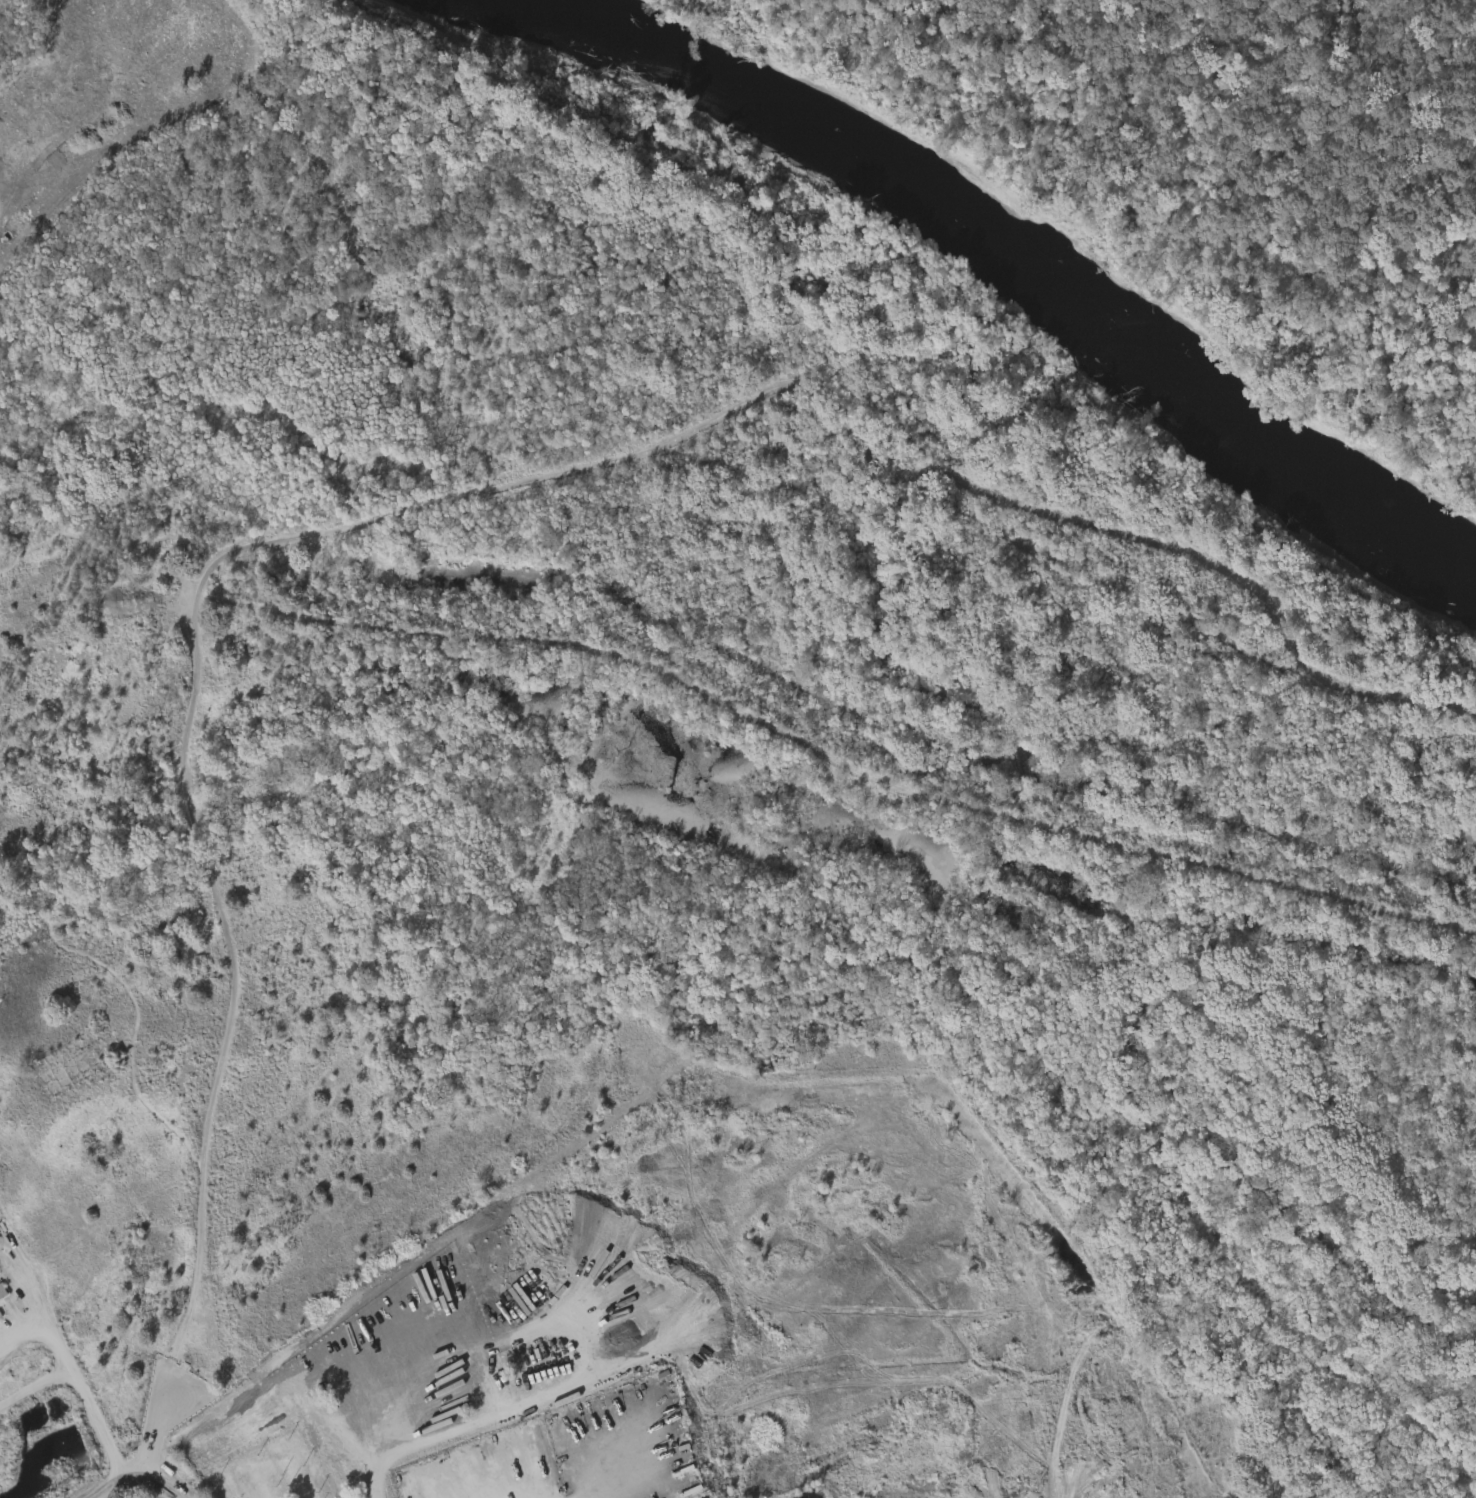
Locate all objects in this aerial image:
river: (1043, 272)
road: (216, 895)
building: (2, 1291)
road: (20, 1328)
road: (68, 1365)
road: (148, 1484)

